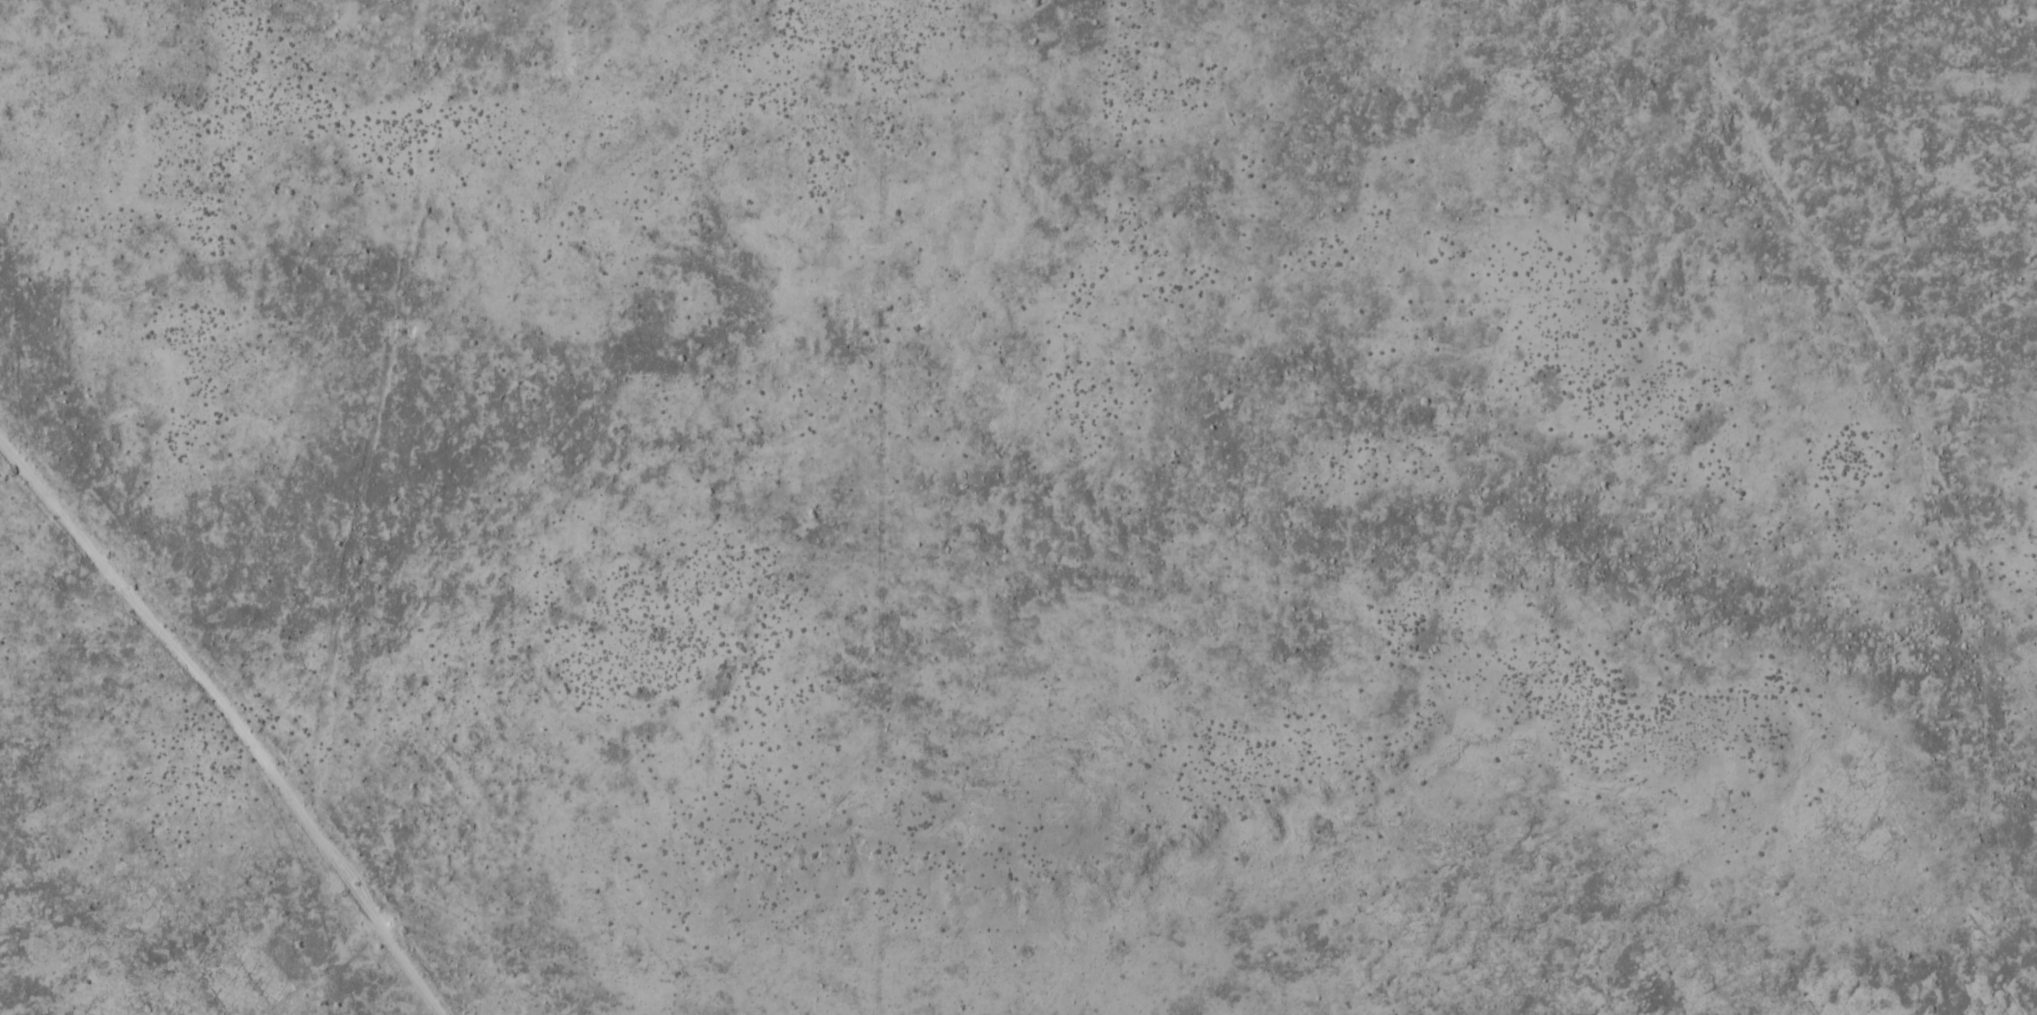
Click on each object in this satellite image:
road: (364, 481)
road: (161, 615)
road: (319, 970)

